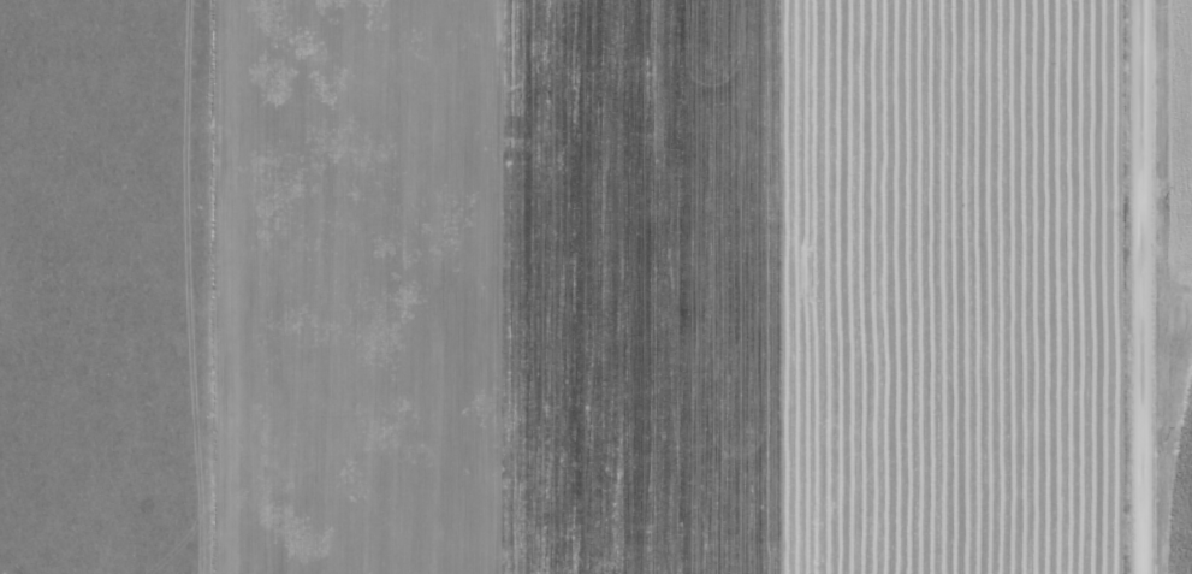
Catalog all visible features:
road: (1147, 286)

